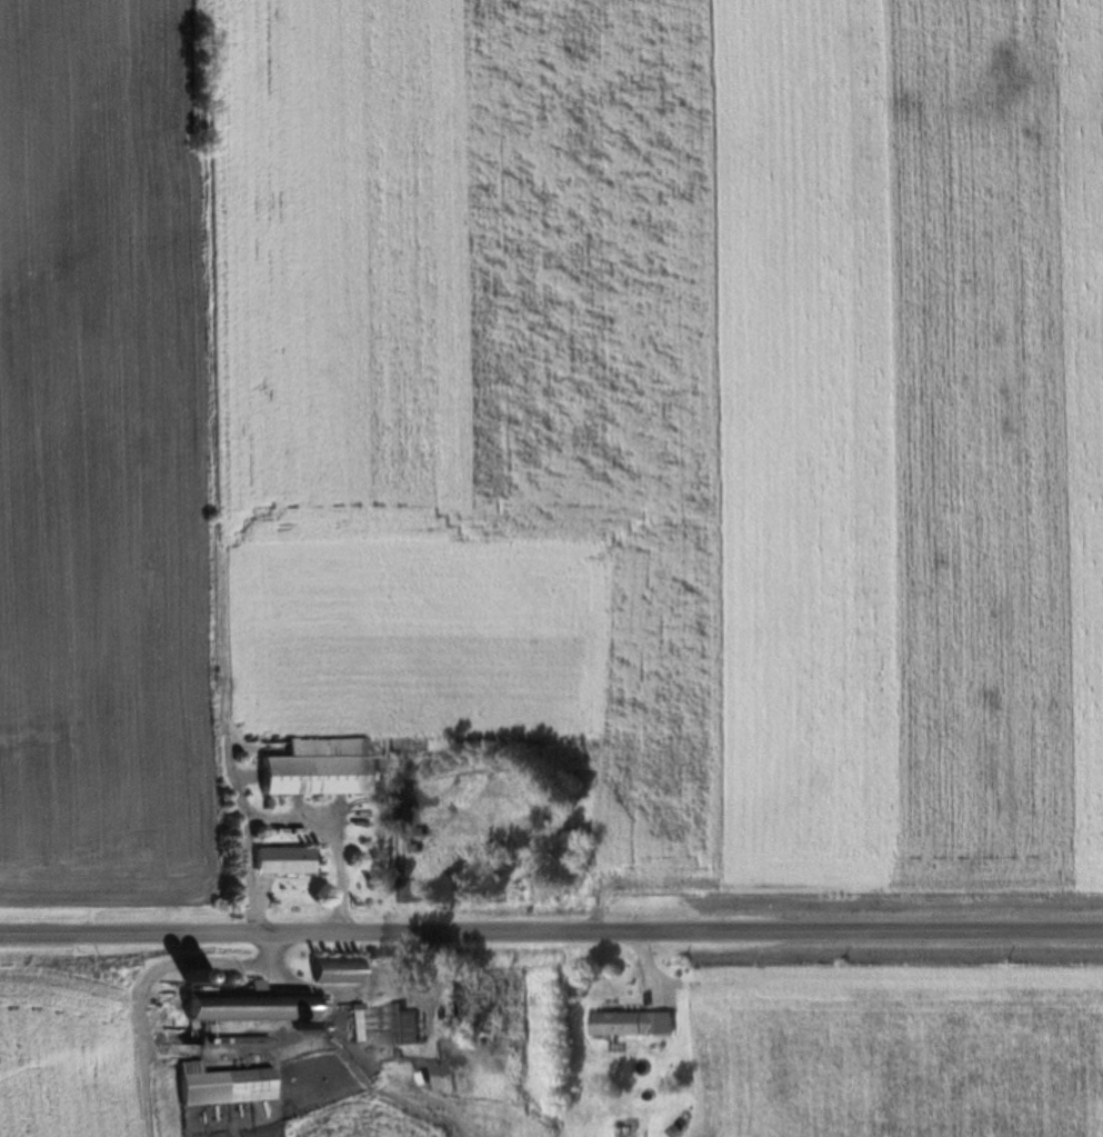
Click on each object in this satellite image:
building: (322, 766)
building: (288, 859)
road: (551, 942)
building: (254, 1008)
building: (359, 1024)
building: (638, 1025)
building: (410, 1028)
building: (230, 1081)
building: (625, 1129)

